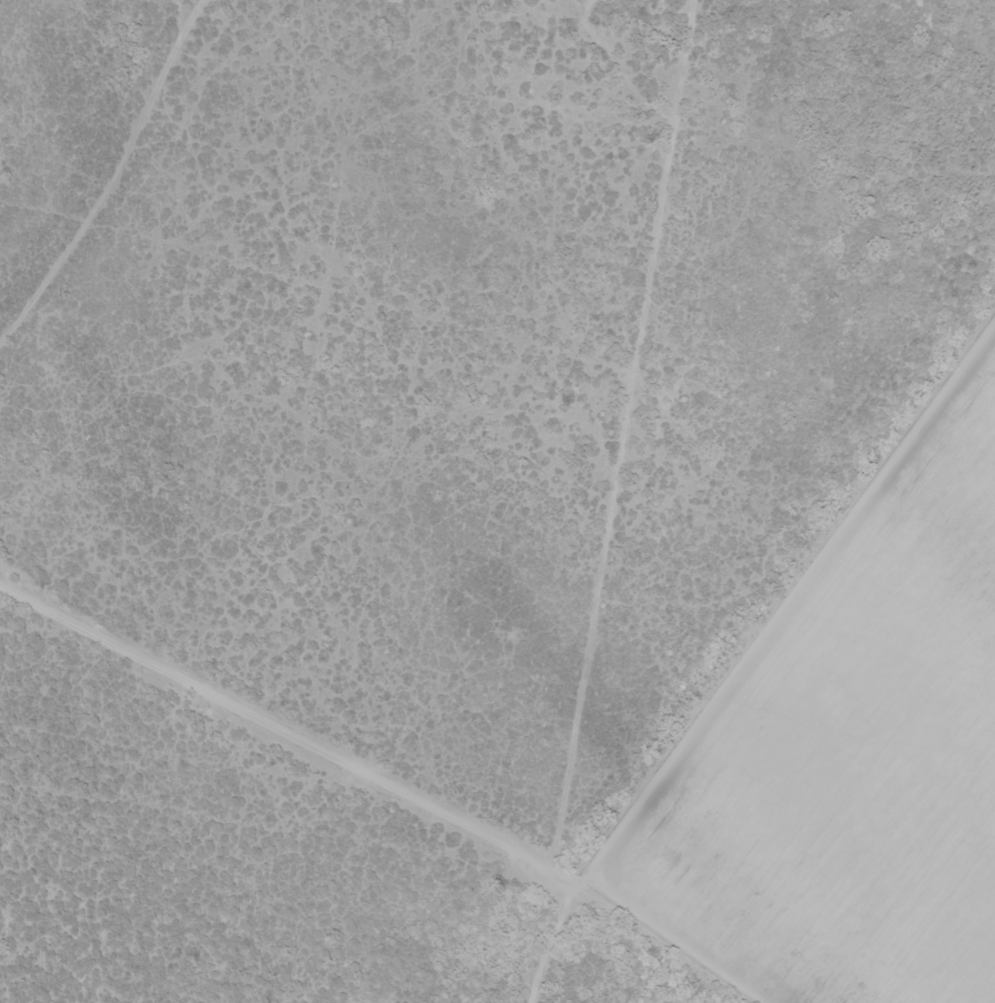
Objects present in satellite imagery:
road: (789, 579)
road: (390, 775)
road: (561, 935)

